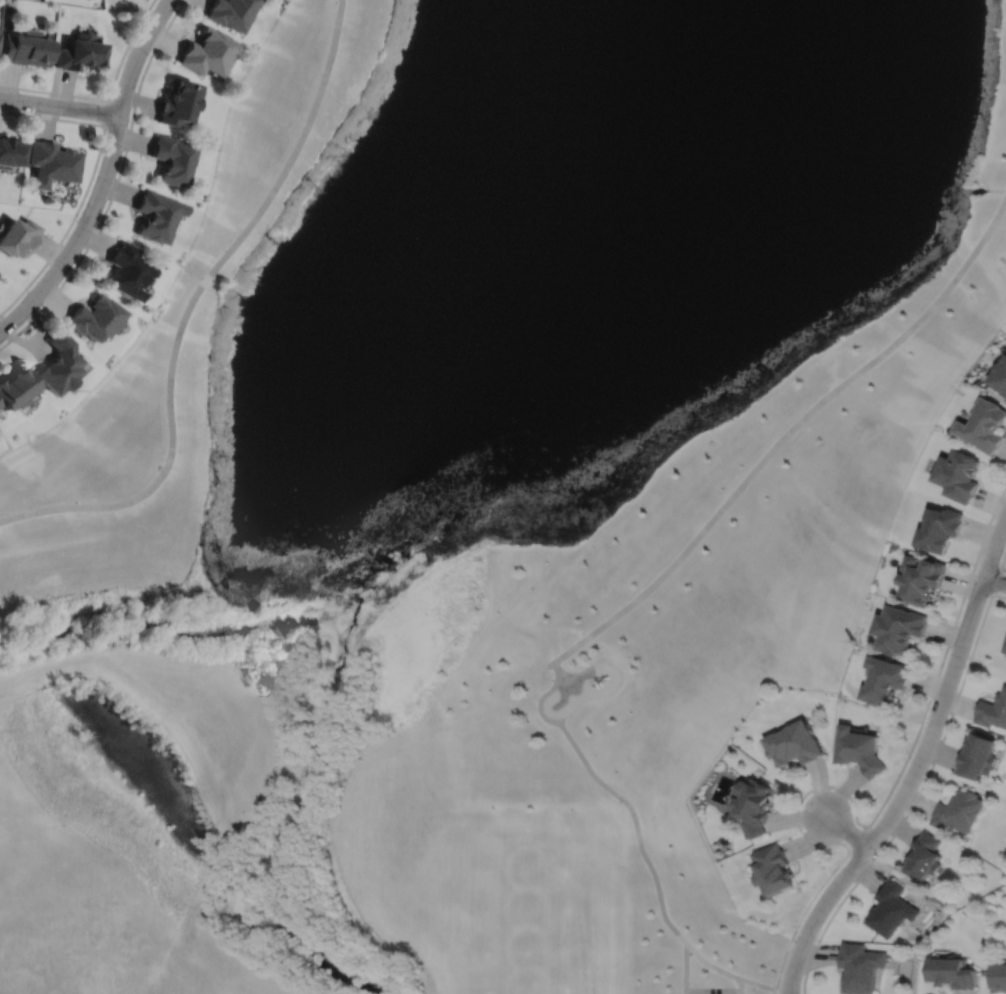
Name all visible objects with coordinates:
building: (231, 13)
building: (24, 49)
building: (207, 53)
building: (78, 54)
road: (110, 100)
building: (177, 104)
road: (60, 106)
road: (108, 113)
building: (9, 154)
building: (172, 157)
building: (51, 163)
road: (106, 177)
road: (91, 180)
road: (115, 186)
building: (156, 213)
building: (17, 234)
building: (127, 270)
building: (0, 277)
road: (189, 306)
building: (95, 316)
building: (58, 362)
building: (1000, 375)
building: (14, 387)
building: (985, 424)
road: (785, 435)
building: (960, 474)
park: (485, 491)
building: (941, 528)
road: (1001, 560)
building: (923, 578)
road: (993, 579)
road: (994, 579)
building: (900, 629)
building: (1005, 650)
building: (886, 681)
building: (993, 710)
building: (795, 744)
road: (910, 745)
building: (859, 750)
building: (975, 755)
road: (916, 763)
road: (614, 792)
road: (915, 793)
road: (800, 796)
building: (755, 804)
building: (957, 809)
road: (845, 829)
building: (924, 853)
building: (775, 867)
building: (892, 907)
park: (536, 910)
road: (711, 965)
building: (861, 966)
road: (685, 969)
building: (952, 970)
building: (999, 975)
road: (757, 983)
park: (538, 985)
road: (740, 986)
parking lot: (711, 990)
road: (774, 991)

